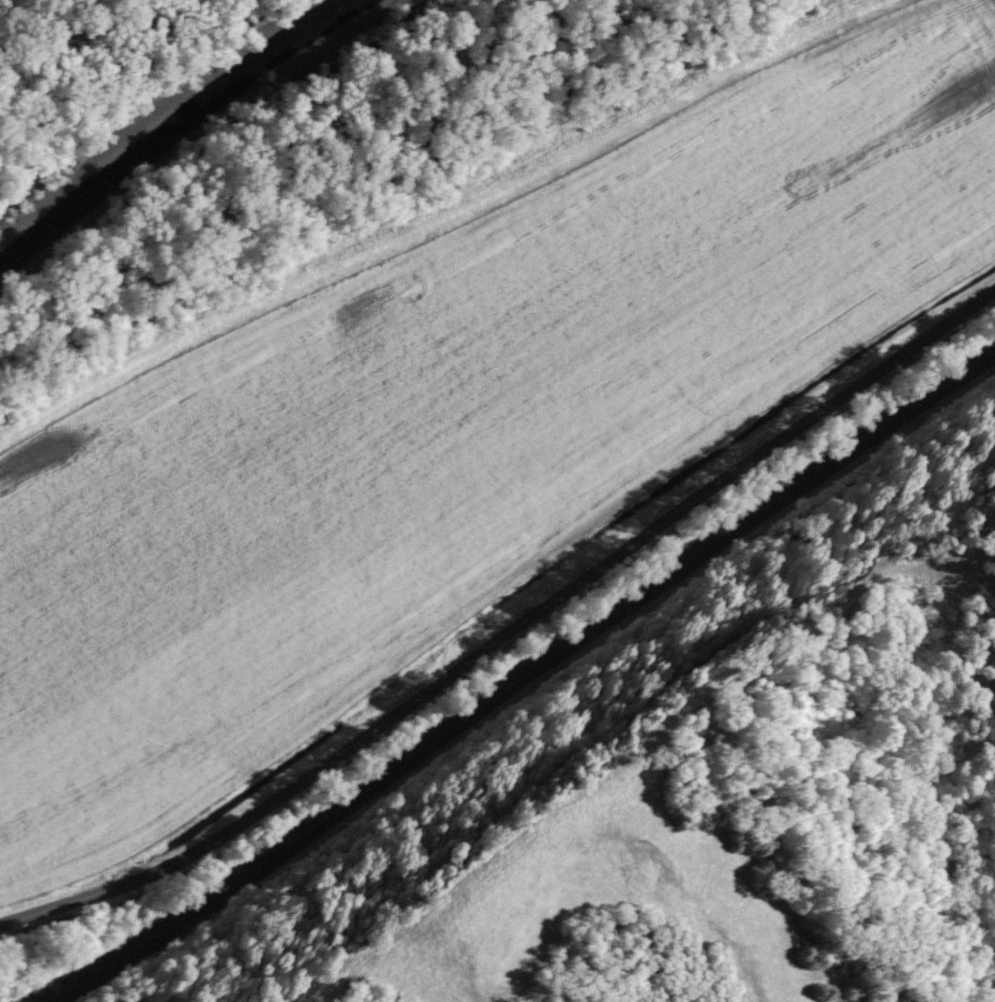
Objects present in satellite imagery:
road: (510, 630)
railway: (512, 672)
railway: (524, 680)

